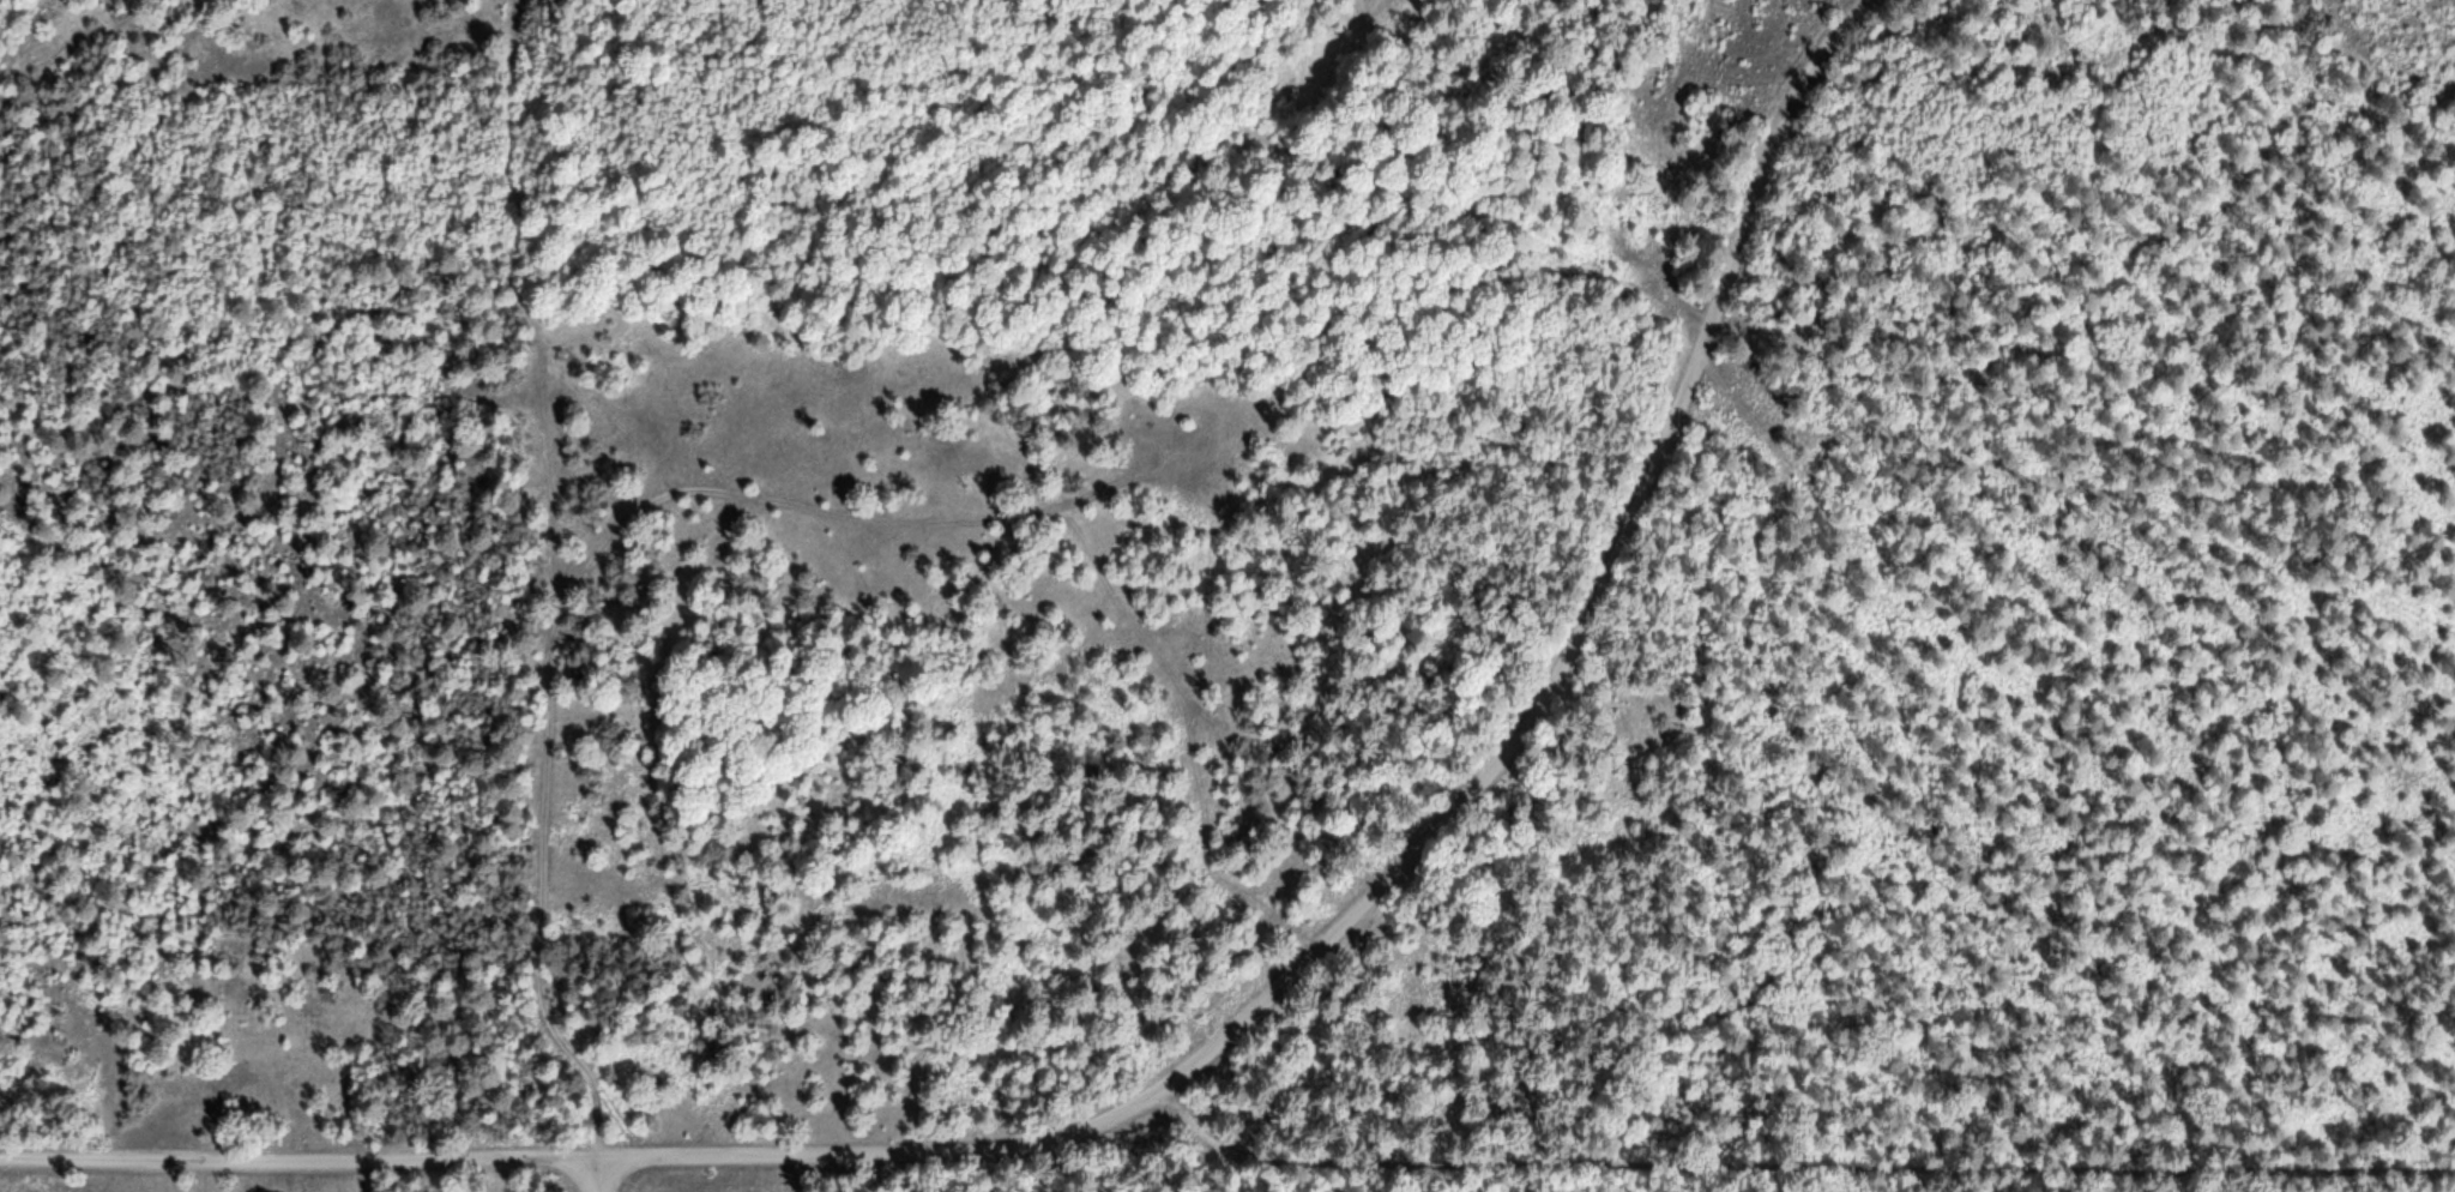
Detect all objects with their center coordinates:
road: (523, 305)
road: (583, 583)
road: (1435, 829)
road: (301, 1152)
road: (1791, 1163)
road: (601, 1174)

